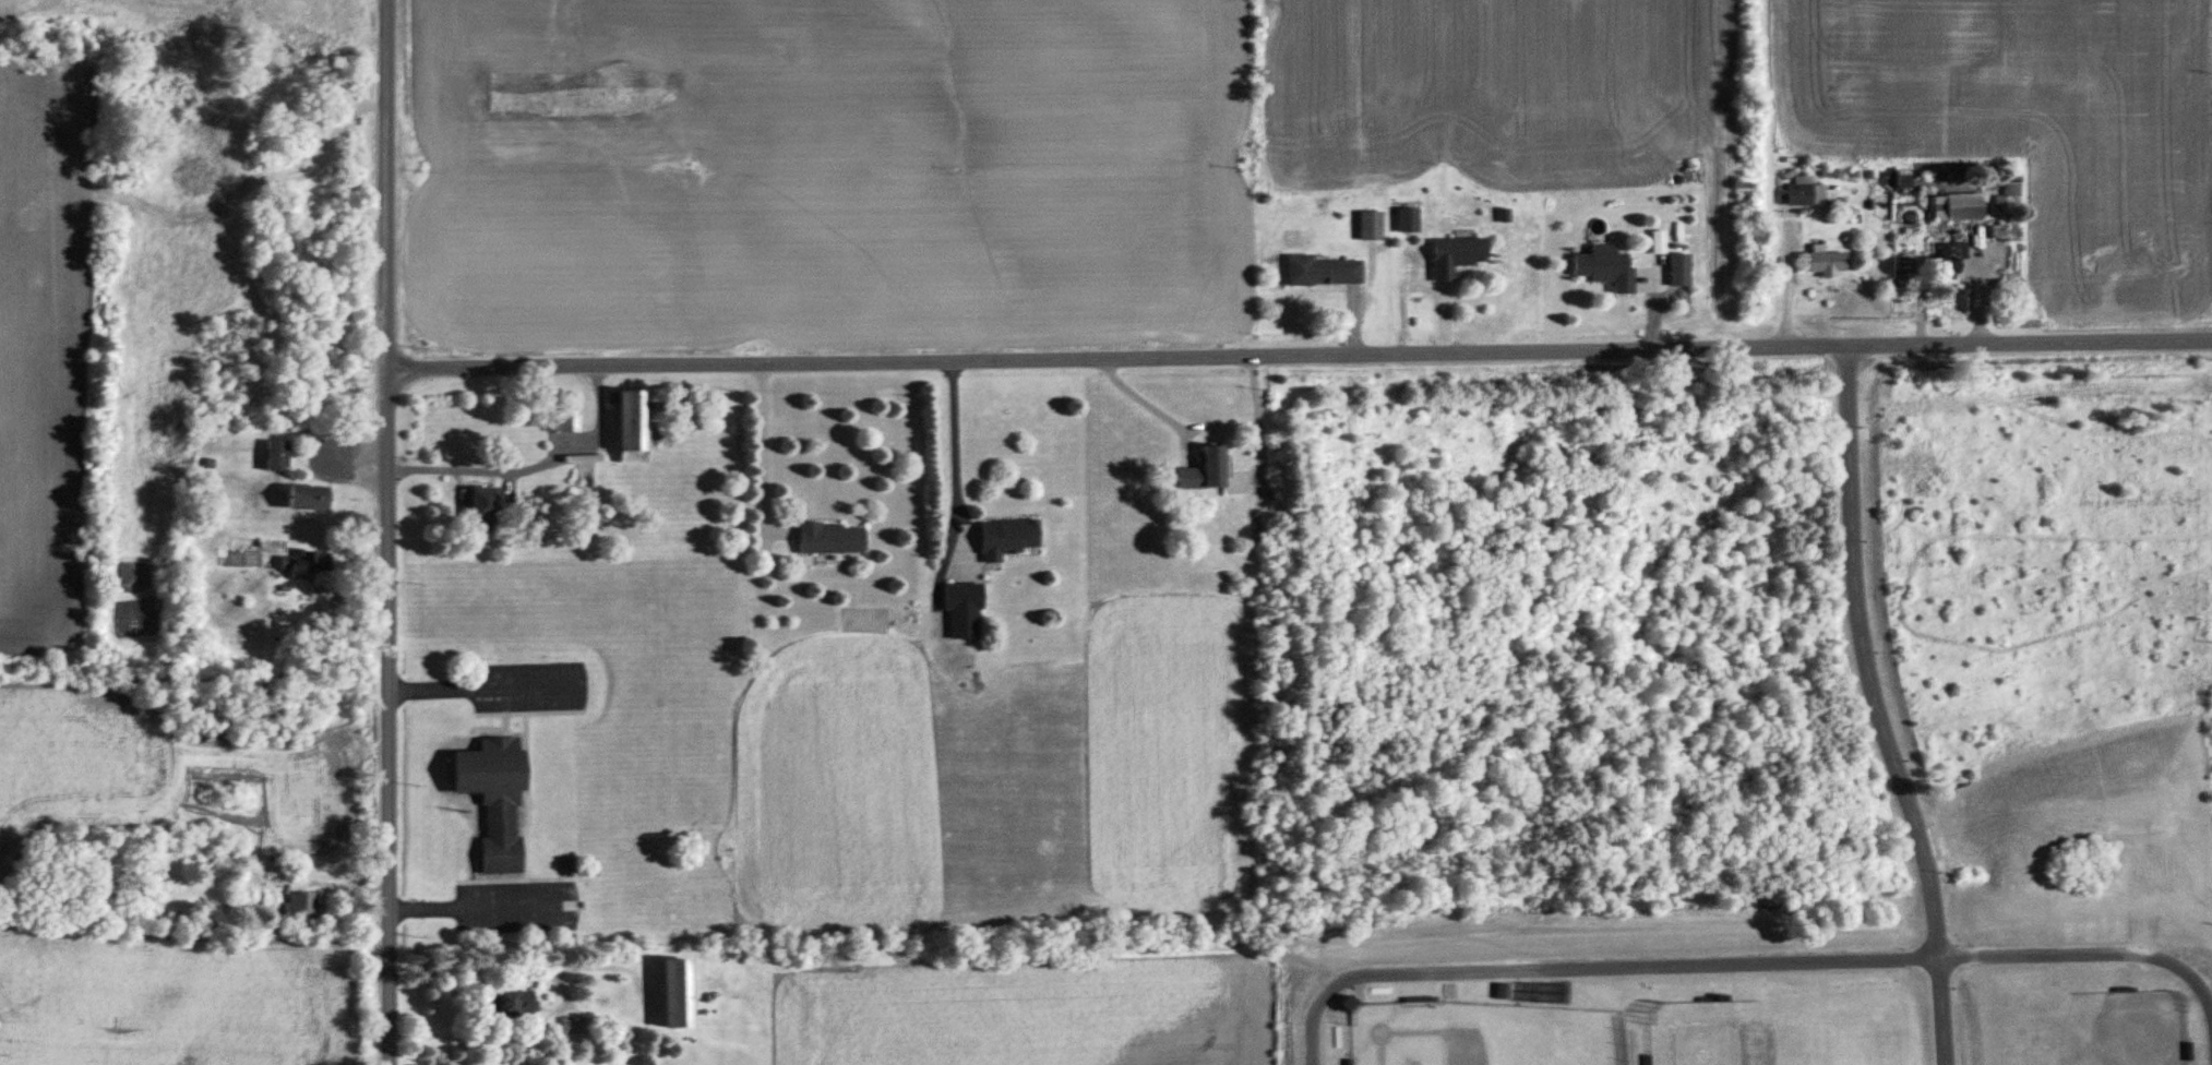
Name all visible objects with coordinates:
building: (2011, 189)
building: (1805, 194)
building: (1959, 202)
building: (1408, 220)
building: (1371, 227)
building: (1456, 255)
building: (1826, 262)
building: (1605, 267)
building: (1679, 270)
building: (1322, 272)
road: (1300, 355)
road: (1138, 397)
building: (570, 411)
road: (1257, 417)
building: (632, 426)
road: (764, 446)
building: (277, 456)
road: (956, 456)
road: (528, 470)
building: (1205, 470)
building: (309, 499)
building: (481, 507)
road: (387, 532)
building: (1006, 538)
building: (830, 539)
building: (306, 564)
building: (964, 611)
building: (493, 799)
road: (465, 900)
building: (301, 906)
road: (1755, 957)
building: (677, 993)
building: (512, 1003)
building: (1348, 1004)
building: (574, 1026)
park: (1484, 1034)

